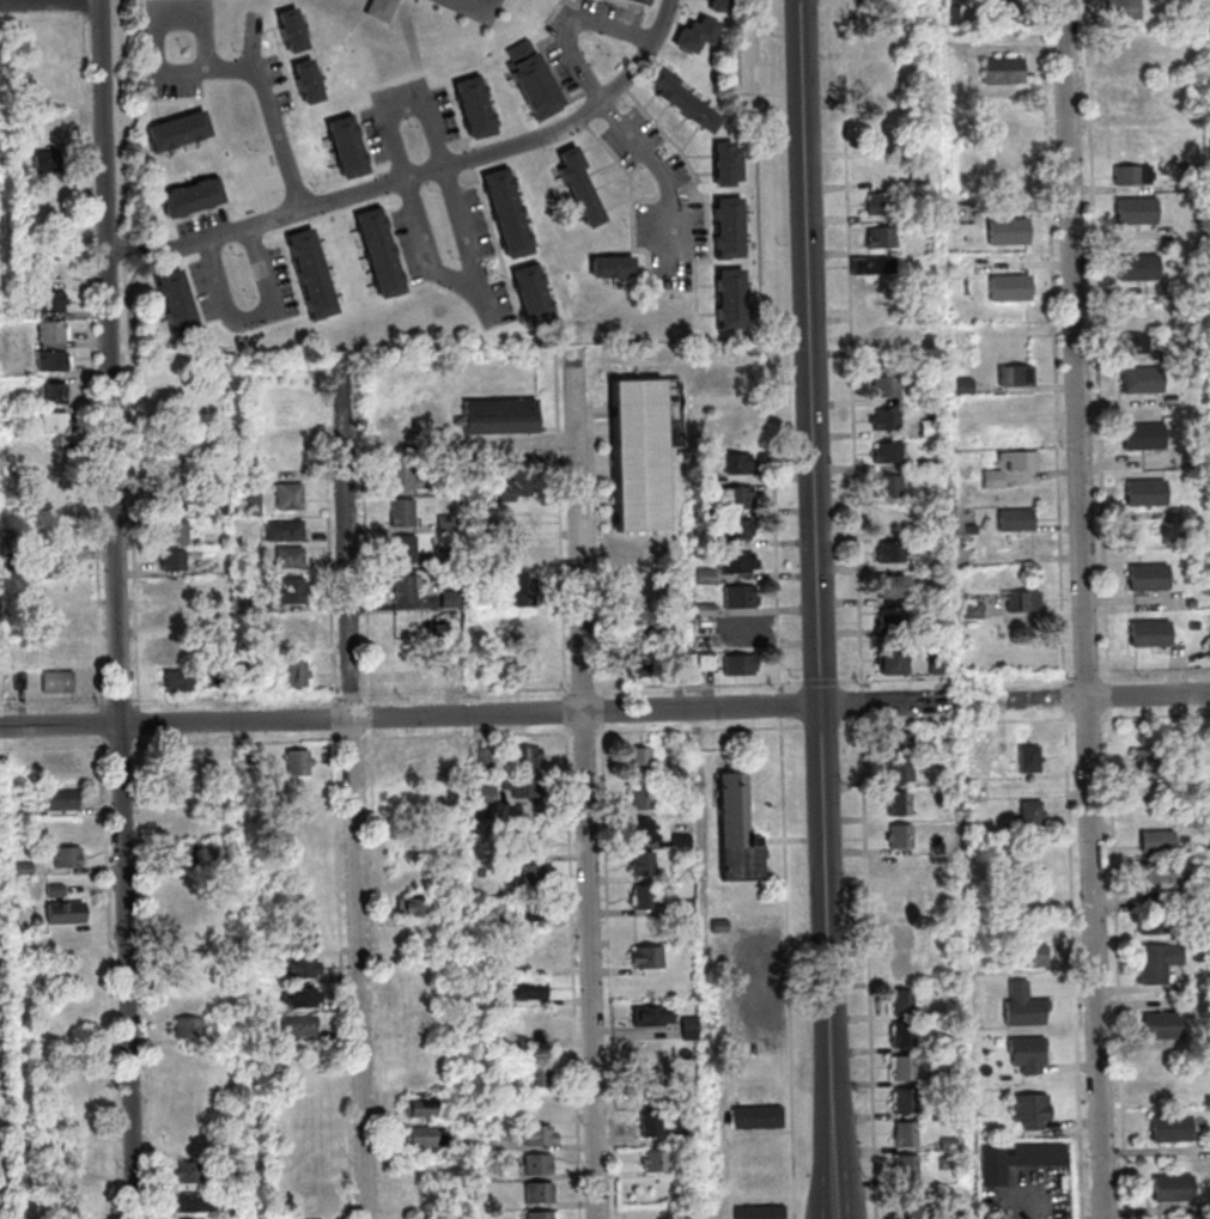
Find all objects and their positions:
road: (50, 1)
building: (643, 2)
road: (85, 5)
building: (722, 7)
building: (1009, 12)
building: (1125, 12)
building: (955, 18)
road: (42, 23)
road: (570, 24)
building: (876, 30)
building: (294, 35)
building: (699, 38)
building: (1129, 44)
road: (214, 67)
building: (1005, 74)
building: (535, 83)
building: (310, 85)
building: (472, 97)
building: (1135, 102)
building: (685, 105)
road: (406, 109)
building: (481, 126)
building: (181, 134)
building: (881, 140)
building: (920, 145)
building: (349, 151)
building: (729, 158)
building: (13, 161)
building: (48, 163)
building: (877, 170)
road: (663, 172)
road: (420, 173)
building: (1135, 176)
building: (729, 178)
building: (1190, 179)
building: (582, 190)
building: (194, 201)
building: (883, 206)
building: (963, 214)
building: (1138, 214)
building: (510, 218)
building: (731, 232)
building: (1010, 234)
building: (884, 239)
building: (383, 257)
building: (613, 264)
building: (954, 264)
building: (875, 268)
building: (1141, 270)
building: (315, 278)
road: (469, 284)
building: (1013, 292)
building: (535, 299)
building: (53, 303)
building: (734, 304)
building: (180, 305)
building: (1132, 313)
road: (253, 318)
building: (53, 333)
building: (892, 340)
road: (1100, 342)
road: (1056, 343)
road: (790, 345)
building: (1135, 345)
road: (853, 346)
building: (54, 347)
road: (129, 355)
road: (95, 360)
building: (54, 361)
building: (1017, 378)
building: (1143, 383)
building: (892, 388)
building: (936, 388)
building: (965, 388)
building: (176, 390)
building: (55, 395)
road: (589, 413)
building: (499, 416)
building: (888, 421)
building: (56, 423)
building: (932, 431)
building: (1145, 439)
road: (517, 441)
building: (172, 446)
building: (643, 451)
building: (890, 455)
building: (1022, 462)
building: (735, 464)
building: (174, 474)
road: (333, 475)
building: (403, 477)
building: (704, 480)
building: (993, 481)
building: (890, 487)
building: (510, 488)
building: (449, 489)
road: (360, 495)
building: (1148, 495)
building: (291, 499)
building: (736, 499)
building: (175, 502)
building: (248, 502)
building: (219, 510)
building: (402, 513)
building: (705, 513)
building: (892, 520)
building: (1019, 520)
building: (448, 523)
building: (518, 525)
building: (284, 531)
building: (735, 531)
building: (175, 532)
road: (560, 549)
building: (405, 550)
building: (893, 554)
building: (290, 556)
road: (596, 556)
building: (448, 557)
building: (174, 561)
building: (736, 563)
building: (59, 568)
road: (819, 577)
building: (706, 578)
building: (1150, 580)
building: (403, 587)
building: (524, 589)
building: (174, 590)
building: (293, 591)
road: (330, 591)
building: (894, 591)
building: (740, 597)
building: (450, 599)
road: (367, 601)
building: (1024, 603)
building: (1192, 604)
road: (117, 609)
road: (1086, 609)
building: (706, 610)
building: (975, 611)
building: (175, 618)
building: (895, 620)
building: (636, 623)
building: (403, 627)
building: (741, 628)
building: (1197, 628)
building: (288, 632)
building: (1153, 636)
building: (709, 662)
building: (679, 663)
building: (894, 663)
building: (938, 663)
building: (638, 665)
building: (741, 665)
building: (248, 671)
building: (296, 674)
road: (1155, 674)
building: (220, 676)
road: (1088, 677)
road: (957, 678)
building: (20, 679)
building: (180, 679)
building: (57, 682)
road: (822, 684)
road: (699, 687)
road: (583, 689)
road: (467, 691)
road: (352, 696)
road: (1109, 696)
road: (1111, 696)
road: (236, 697)
road: (1066, 697)
road: (975, 700)
road: (120, 701)
road: (54, 703)
road: (863, 703)
road: (566, 706)
road: (782, 707)
road: (371, 712)
road: (602, 712)
road: (470, 714)
road: (1155, 717)
road: (335, 718)
road: (1088, 719)
road: (1071, 720)
road: (103, 723)
road: (139, 724)
road: (822, 726)
road: (851, 726)
road: (700, 731)
road: (590, 733)
road: (348, 740)
road: (238, 743)
building: (900, 744)
road: (122, 745)
building: (683, 745)
road: (55, 748)
building: (251, 756)
building: (525, 757)
building: (1153, 758)
building: (484, 760)
building: (1030, 760)
building: (642, 761)
building: (299, 763)
building: (1205, 767)
building: (900, 772)
road: (586, 784)
building: (523, 788)
road: (355, 792)
building: (943, 797)
building: (61, 798)
building: (642, 798)
building: (412, 802)
building: (485, 802)
building: (899, 805)
building: (1029, 816)
building: (644, 833)
building: (737, 834)
building: (901, 837)
building: (682, 841)
building: (1157, 841)
building: (224, 847)
building: (527, 847)
building: (180, 854)
building: (67, 858)
building: (225, 860)
building: (644, 865)
building: (24, 868)
building: (901, 870)
building: (1162, 872)
building: (481, 873)
building: (530, 878)
building: (1030, 883)
building: (55, 889)
building: (645, 900)
building: (900, 901)
building: (412, 907)
building: (534, 908)
building: (685, 908)
building: (65, 912)
building: (495, 922)
building: (1154, 924)
building: (720, 926)
building: (1208, 931)
building: (303, 934)
building: (902, 934)
road: (759, 943)
building: (1035, 955)
building: (647, 958)
building: (1157, 962)
road: (1119, 963)
road: (703, 964)
road: (1075, 964)
road: (870, 967)
building: (305, 968)
building: (900, 968)
road: (789, 969)
road: (609, 971)
road: (342, 974)
road: (760, 975)
road: (110, 977)
road: (146, 977)
building: (530, 991)
building: (304, 996)
parking lot: (752, 996)
building: (498, 1001)
building: (901, 1002)
building: (1023, 1006)
building: (651, 1017)
building: (420, 1020)
park: (7, 1022)
building: (536, 1024)
building: (299, 1025)
building: (691, 1025)
building: (1163, 1025)
building: (188, 1028)
building: (902, 1035)
building: (947, 1044)
building: (649, 1047)
building: (1028, 1053)
building: (1161, 1062)
building: (902, 1068)
building: (539, 1077)
building: (948, 1077)
building: (497, 1085)
building: (905, 1102)
building: (420, 1108)
building: (1030, 1109)
building: (468, 1117)
building: (756, 1117)
building: (652, 1126)
building: (1171, 1128)
building: (539, 1135)
building: (906, 1135)
building: (421, 1136)
building: (948, 1144)
building: (469, 1145)
building: (1017, 1159)
building: (657, 1162)
building: (539, 1164)
building: (950, 1164)
building: (907, 1168)
building: (191, 1172)
road: (834, 1187)
building: (1173, 1188)
building: (540, 1193)
building: (191, 1203)
building: (908, 1208)
building: (235, 1212)
building: (759, 1212)
building: (542, 1215)
building: (953, 1215)
building: (430, 1217)

